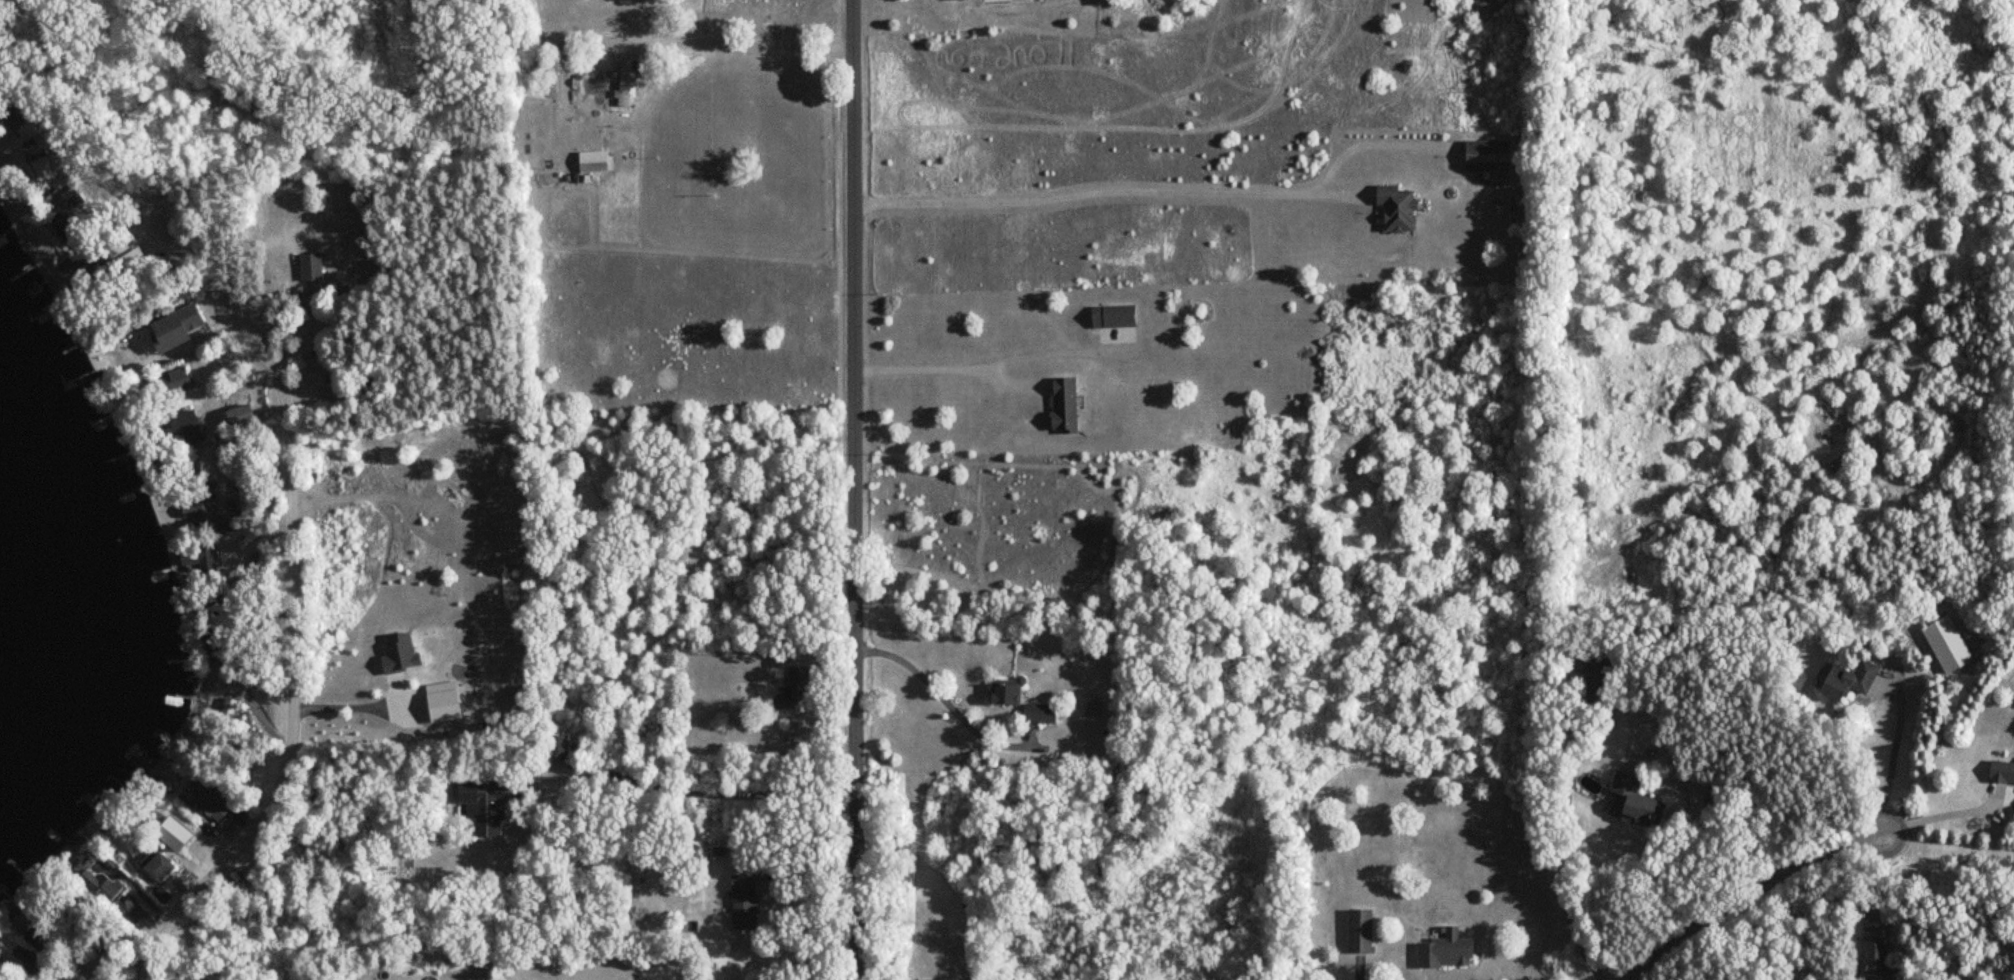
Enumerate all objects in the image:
building: (967, 0)
road: (733, 29)
building: (622, 84)
road: (1365, 145)
building: (1484, 156)
building: (590, 162)
building: (36, 170)
road: (1105, 191)
building: (69, 198)
building: (1393, 209)
building: (61, 228)
building: (307, 269)
building: (1110, 317)
building: (170, 330)
road: (941, 367)
building: (171, 382)
building: (1060, 405)
building: (237, 416)
building: (179, 430)
road: (856, 489)
building: (198, 513)
road: (290, 576)
building: (1843, 680)
building: (790, 688)
building: (1003, 693)
road: (938, 695)
road: (348, 705)
building: (226, 708)
road: (1629, 711)
building: (1036, 713)
building: (557, 747)
road: (1891, 753)
building: (2000, 772)
road: (700, 793)
building: (203, 802)
building: (1629, 802)
building: (481, 805)
road: (1942, 814)
building: (156, 867)
road: (1566, 879)
building: (98, 887)
building: (740, 901)
road: (1756, 903)
building: (130, 917)
building: (1357, 930)
building: (1872, 949)
building: (1442, 950)
building: (26, 959)
road: (1427, 978)

